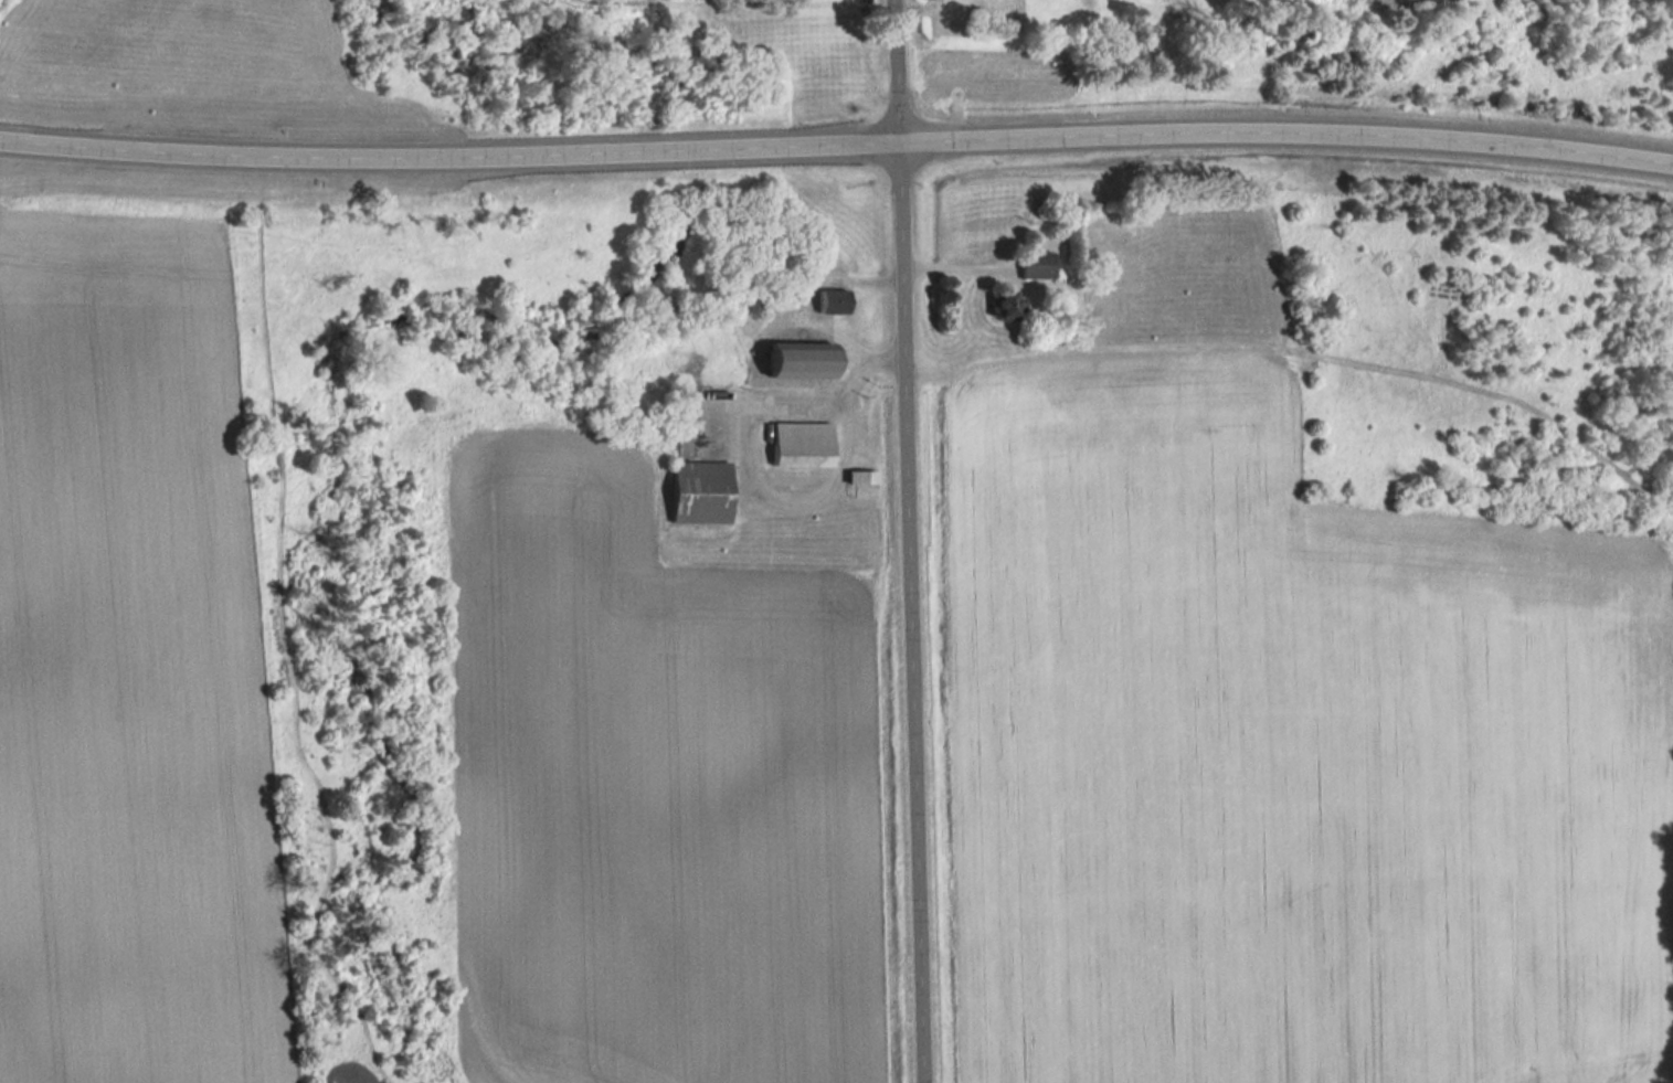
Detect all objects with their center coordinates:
road: (836, 146)
building: (1040, 267)
building: (754, 297)
building: (836, 304)
building: (1007, 306)
building: (805, 361)
building: (805, 446)
building: (864, 478)
building: (702, 493)
road: (907, 541)

